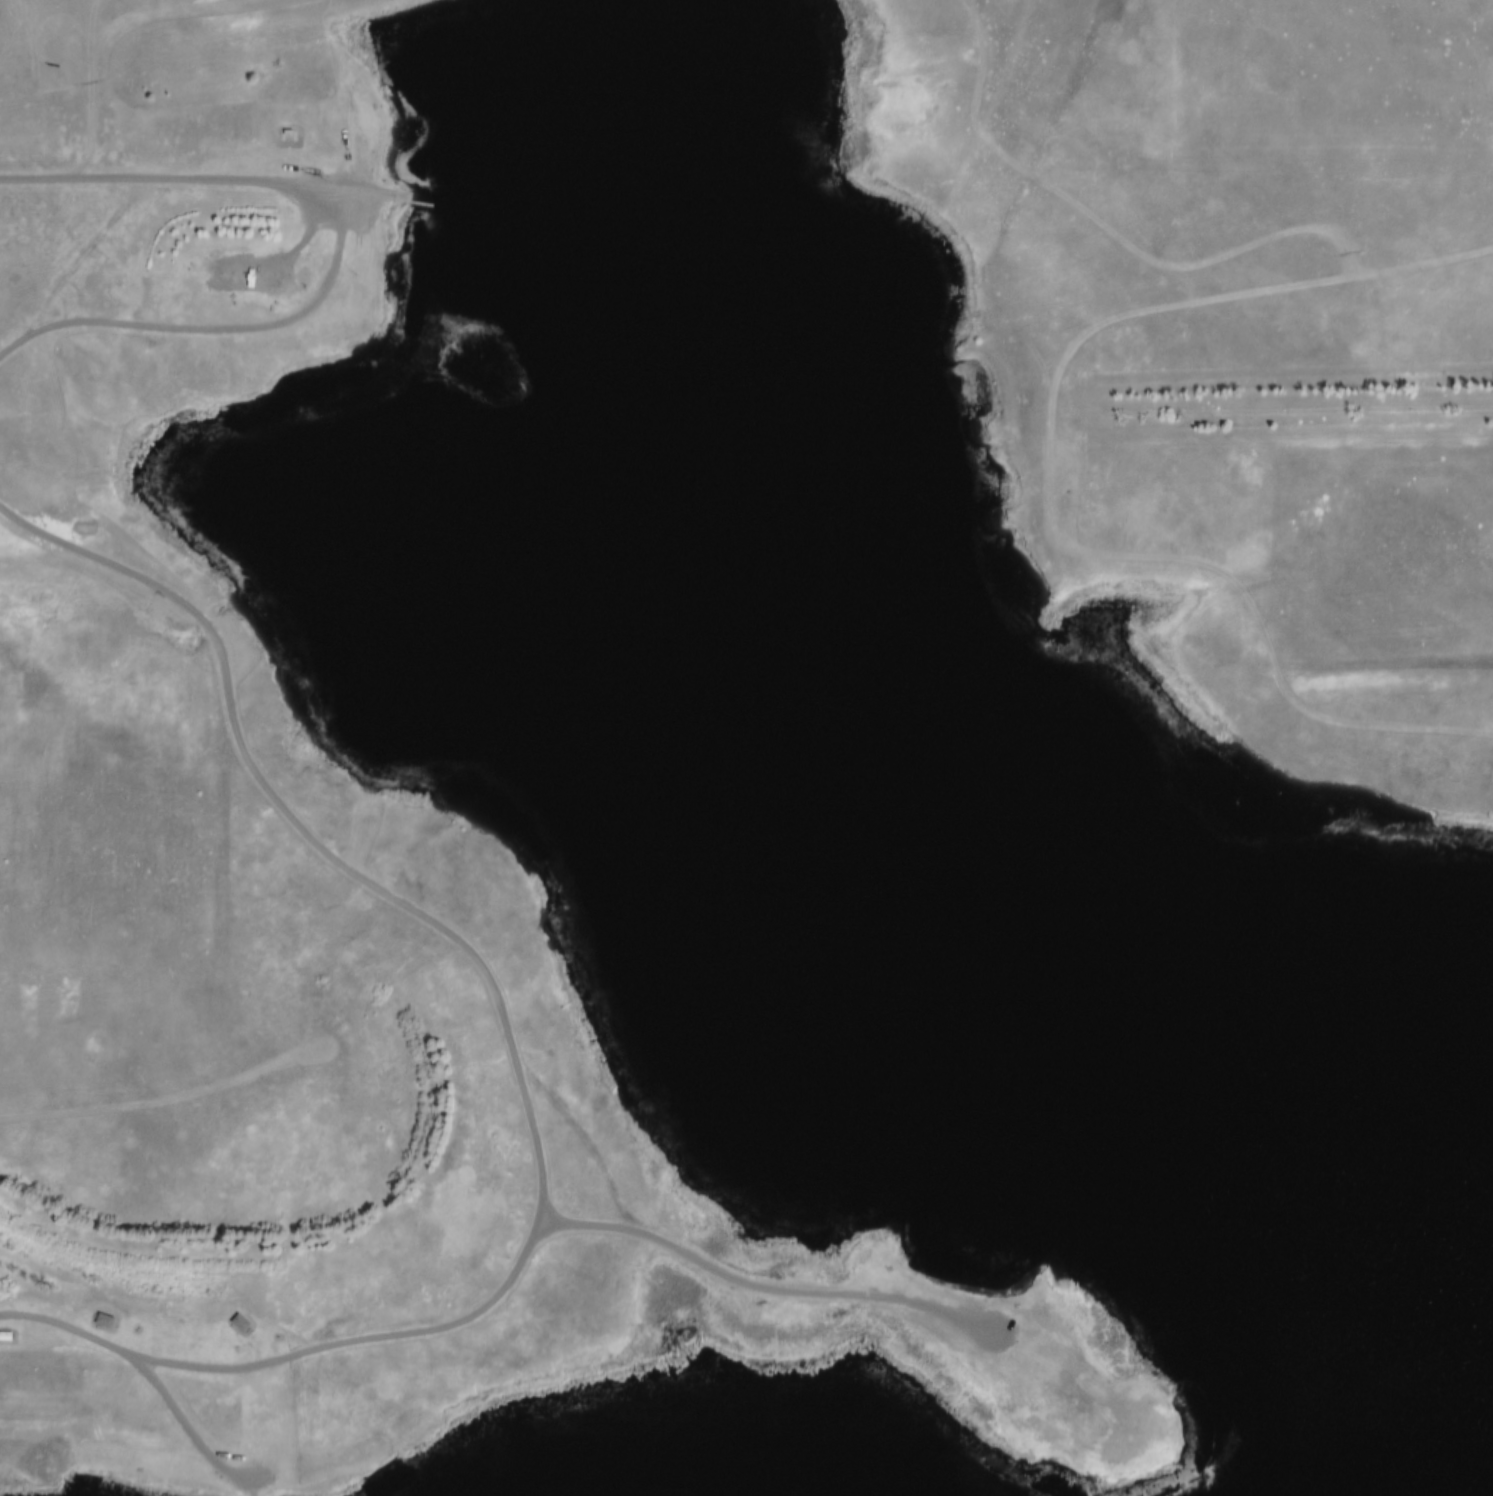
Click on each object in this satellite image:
dam: (212, 8)
road: (113, 35)
road: (199, 181)
road: (1107, 227)
road: (260, 251)
road: (79, 264)
road: (157, 326)
road: (1054, 486)
building: (90, 527)
road: (35, 1043)
road: (512, 1049)
road: (168, 1105)
building: (109, 1318)
building: (245, 1321)

